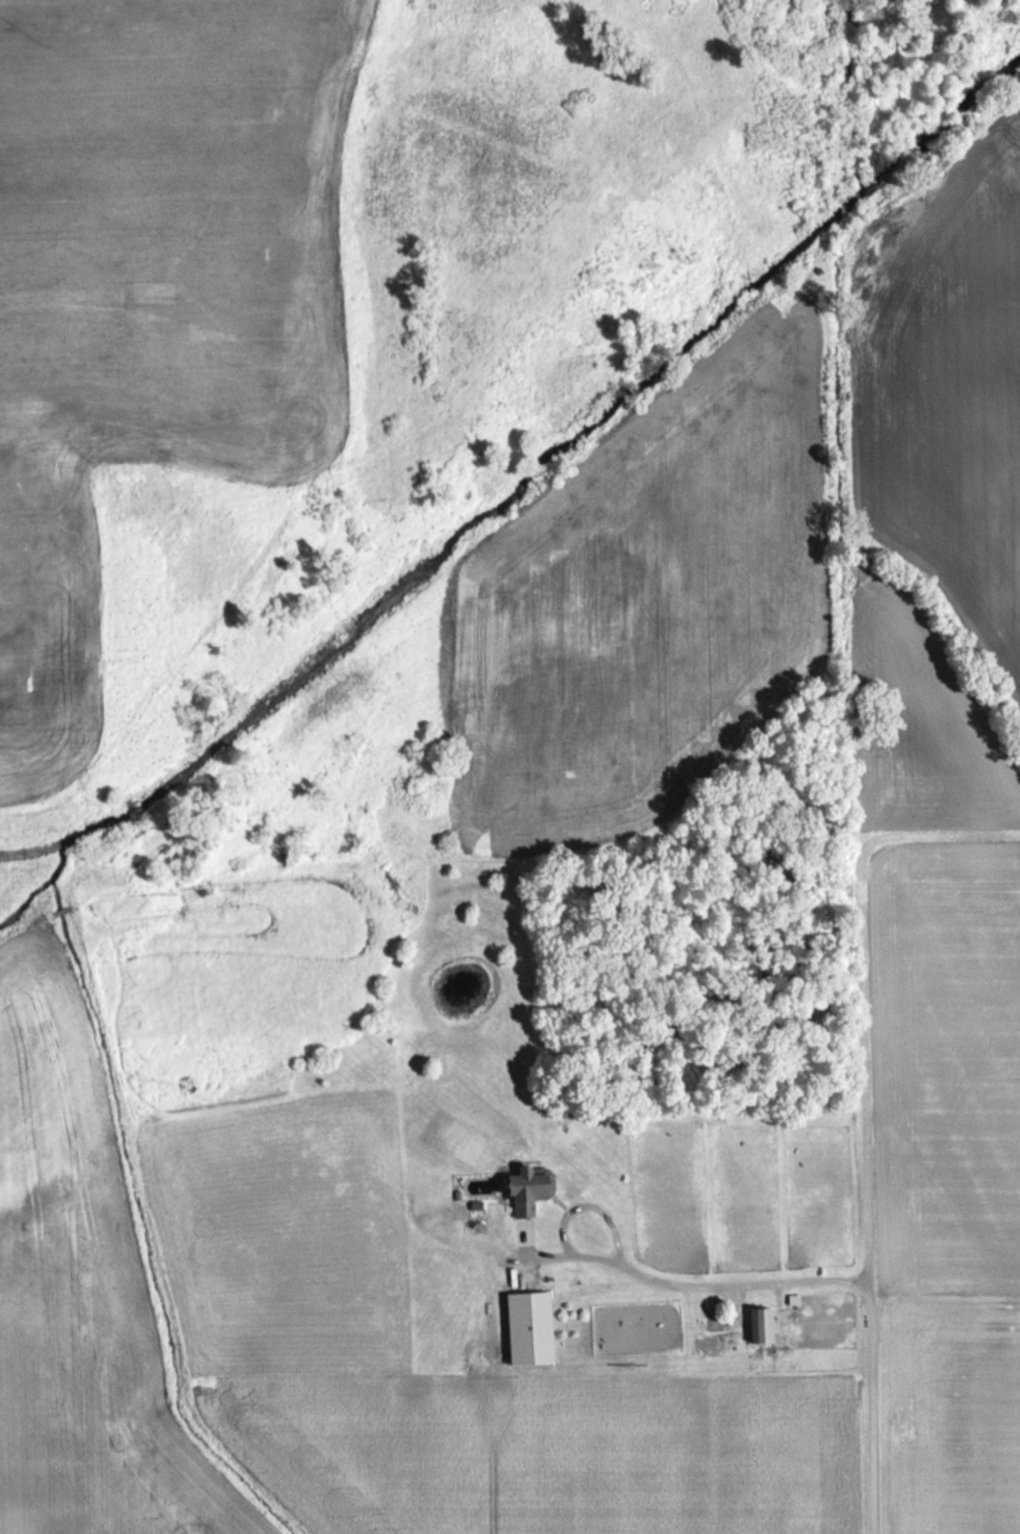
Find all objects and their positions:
building: (534, 1192)
road: (600, 1257)
building: (765, 1328)
road: (875, 1354)

